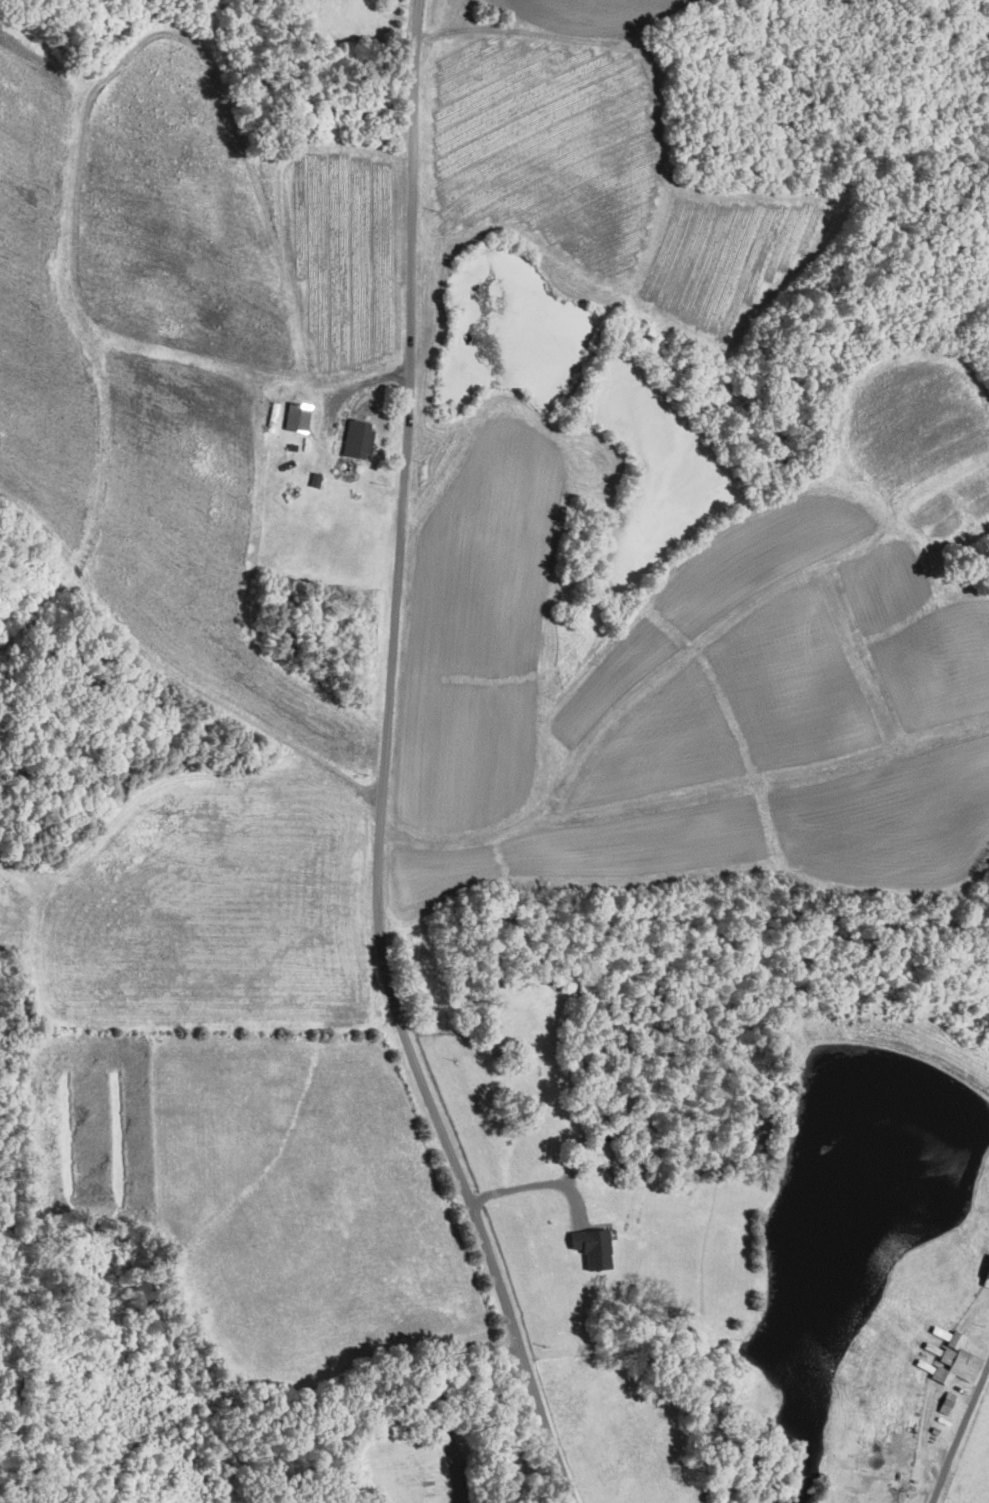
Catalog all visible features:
building: (295, 416)
building: (355, 438)
road: (386, 767)
road: (531, 1184)
building: (590, 1246)
building: (948, 1357)
road: (443, 1393)
road: (958, 1425)

